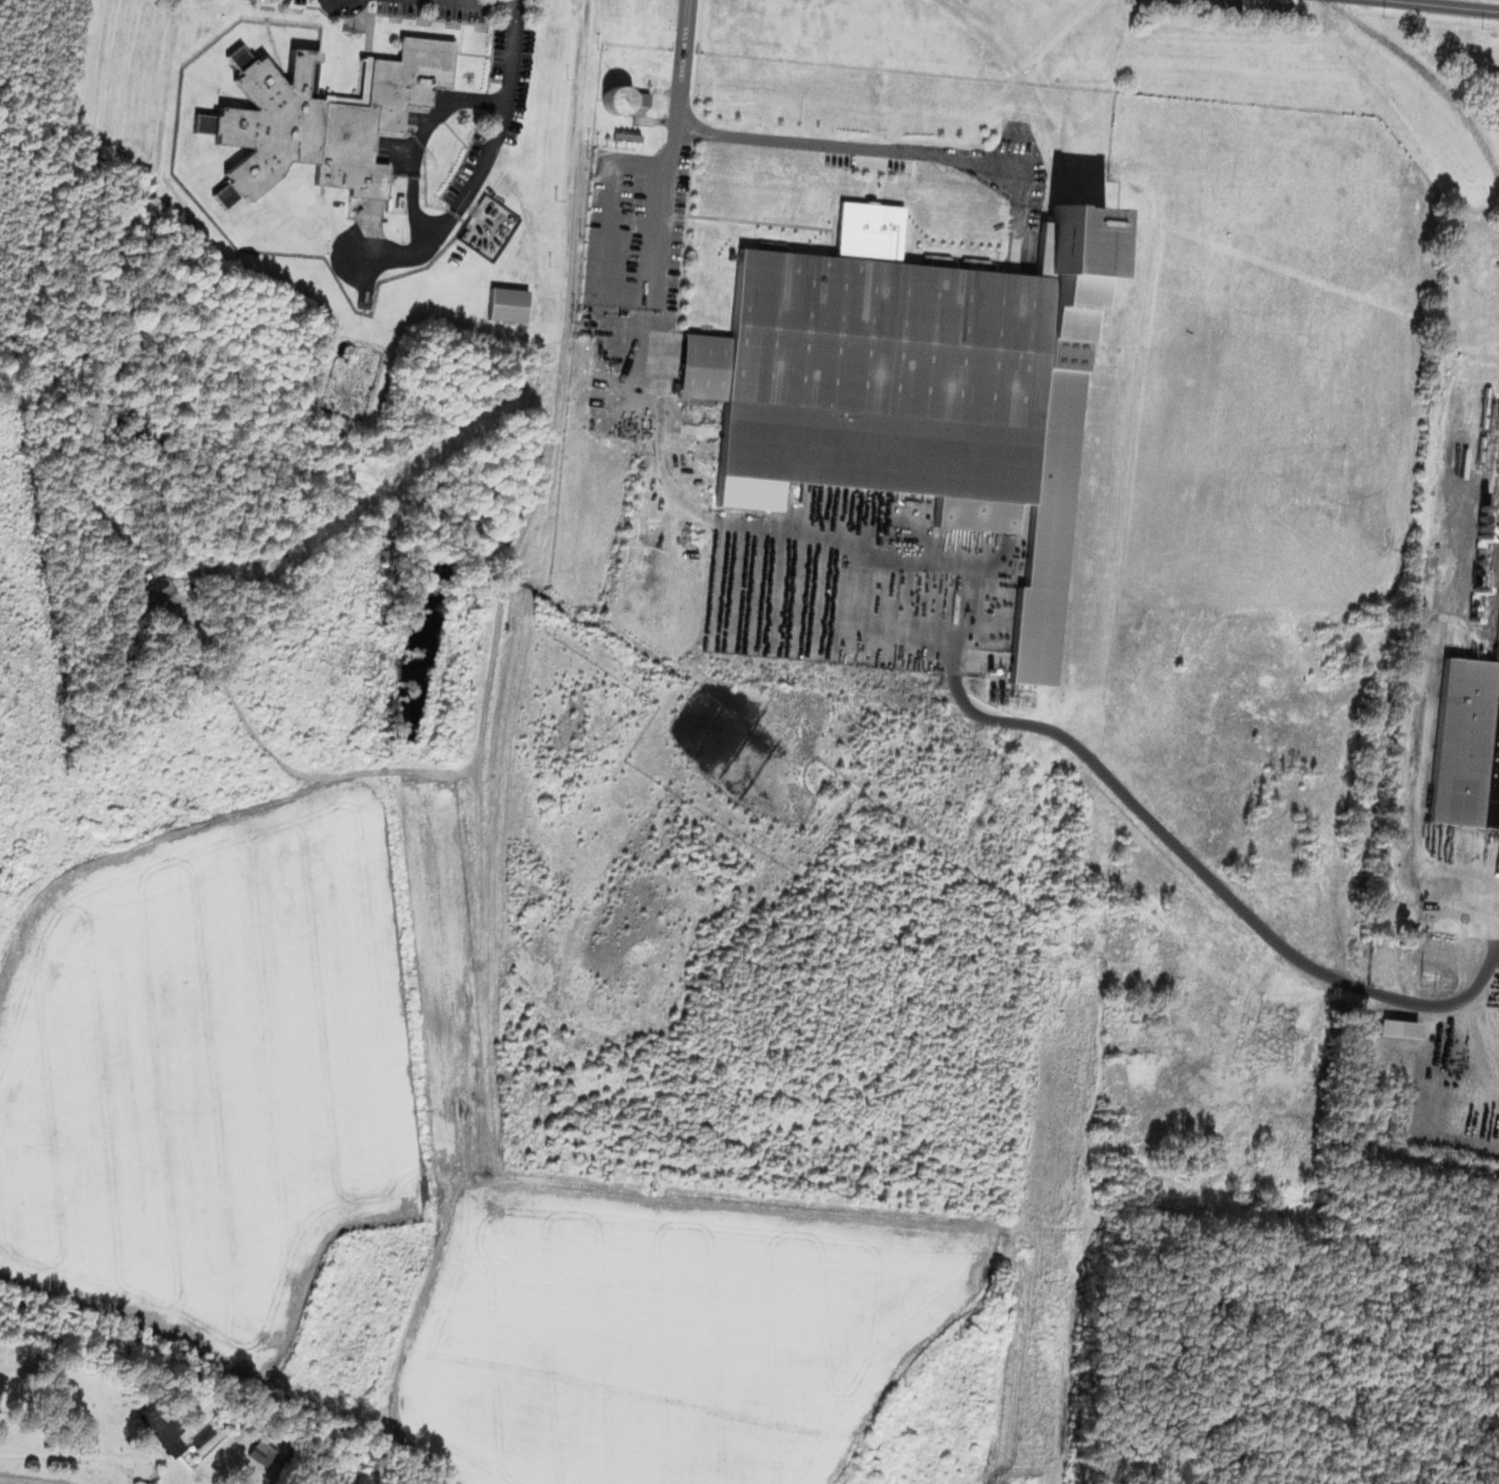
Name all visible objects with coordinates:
road: (473, 3)
road: (1445, 5)
railway: (1427, 74)
building: (607, 100)
building: (636, 101)
building: (314, 118)
road: (891, 145)
road: (665, 200)
railway: (1072, 230)
building: (502, 302)
building: (891, 373)
railway: (1489, 552)
railway: (1493, 593)
building: (904, 630)
building: (1465, 741)
road: (1065, 744)
road: (1422, 765)
building: (157, 1427)
building: (259, 1451)
road: (71, 1454)

